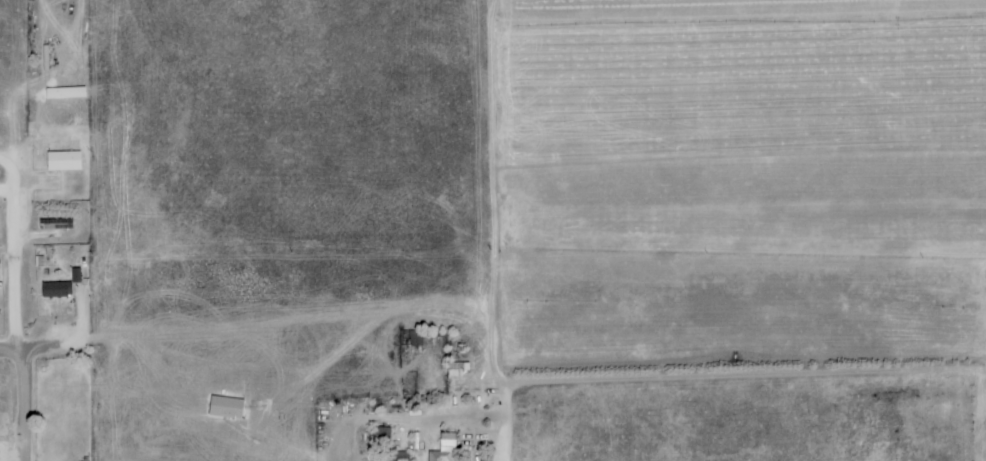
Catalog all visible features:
building: (62, 161)
building: (55, 224)
road: (14, 253)
building: (75, 276)
building: (55, 290)
road: (68, 341)
road: (29, 406)
building: (384, 432)
road: (491, 440)
building: (443, 448)
building: (396, 455)

